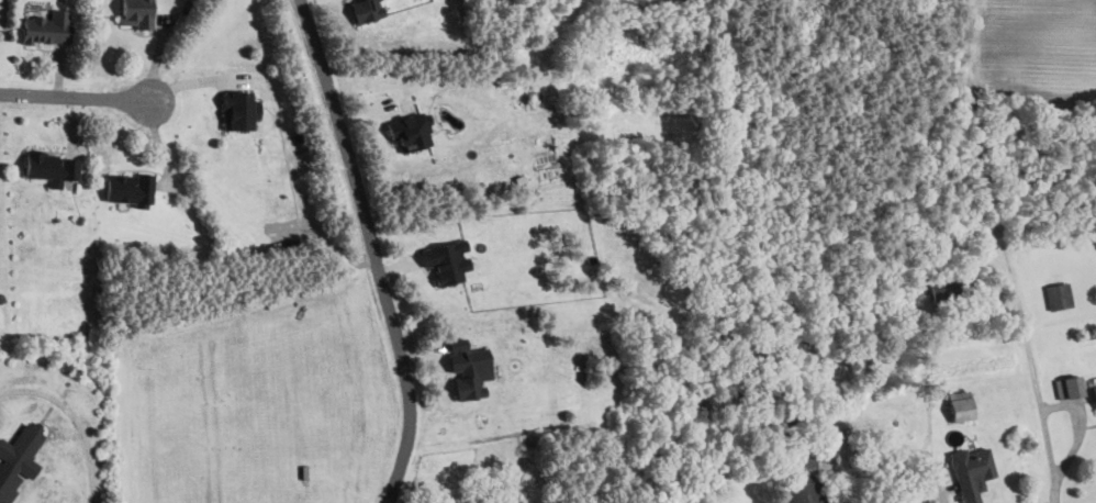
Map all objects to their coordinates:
building: (366, 10)
building: (136, 13)
building: (47, 25)
road: (81, 97)
building: (241, 110)
building: (411, 130)
building: (52, 166)
building: (130, 188)
road: (373, 250)
building: (447, 260)
building: (952, 287)
building: (1058, 295)
building: (468, 368)
road: (1033, 371)
building: (1070, 385)
building: (1095, 389)
building: (731, 390)
building: (961, 405)
road: (74, 420)
building: (791, 429)
building: (22, 449)
building: (972, 467)
building: (805, 482)
building: (8, 483)

